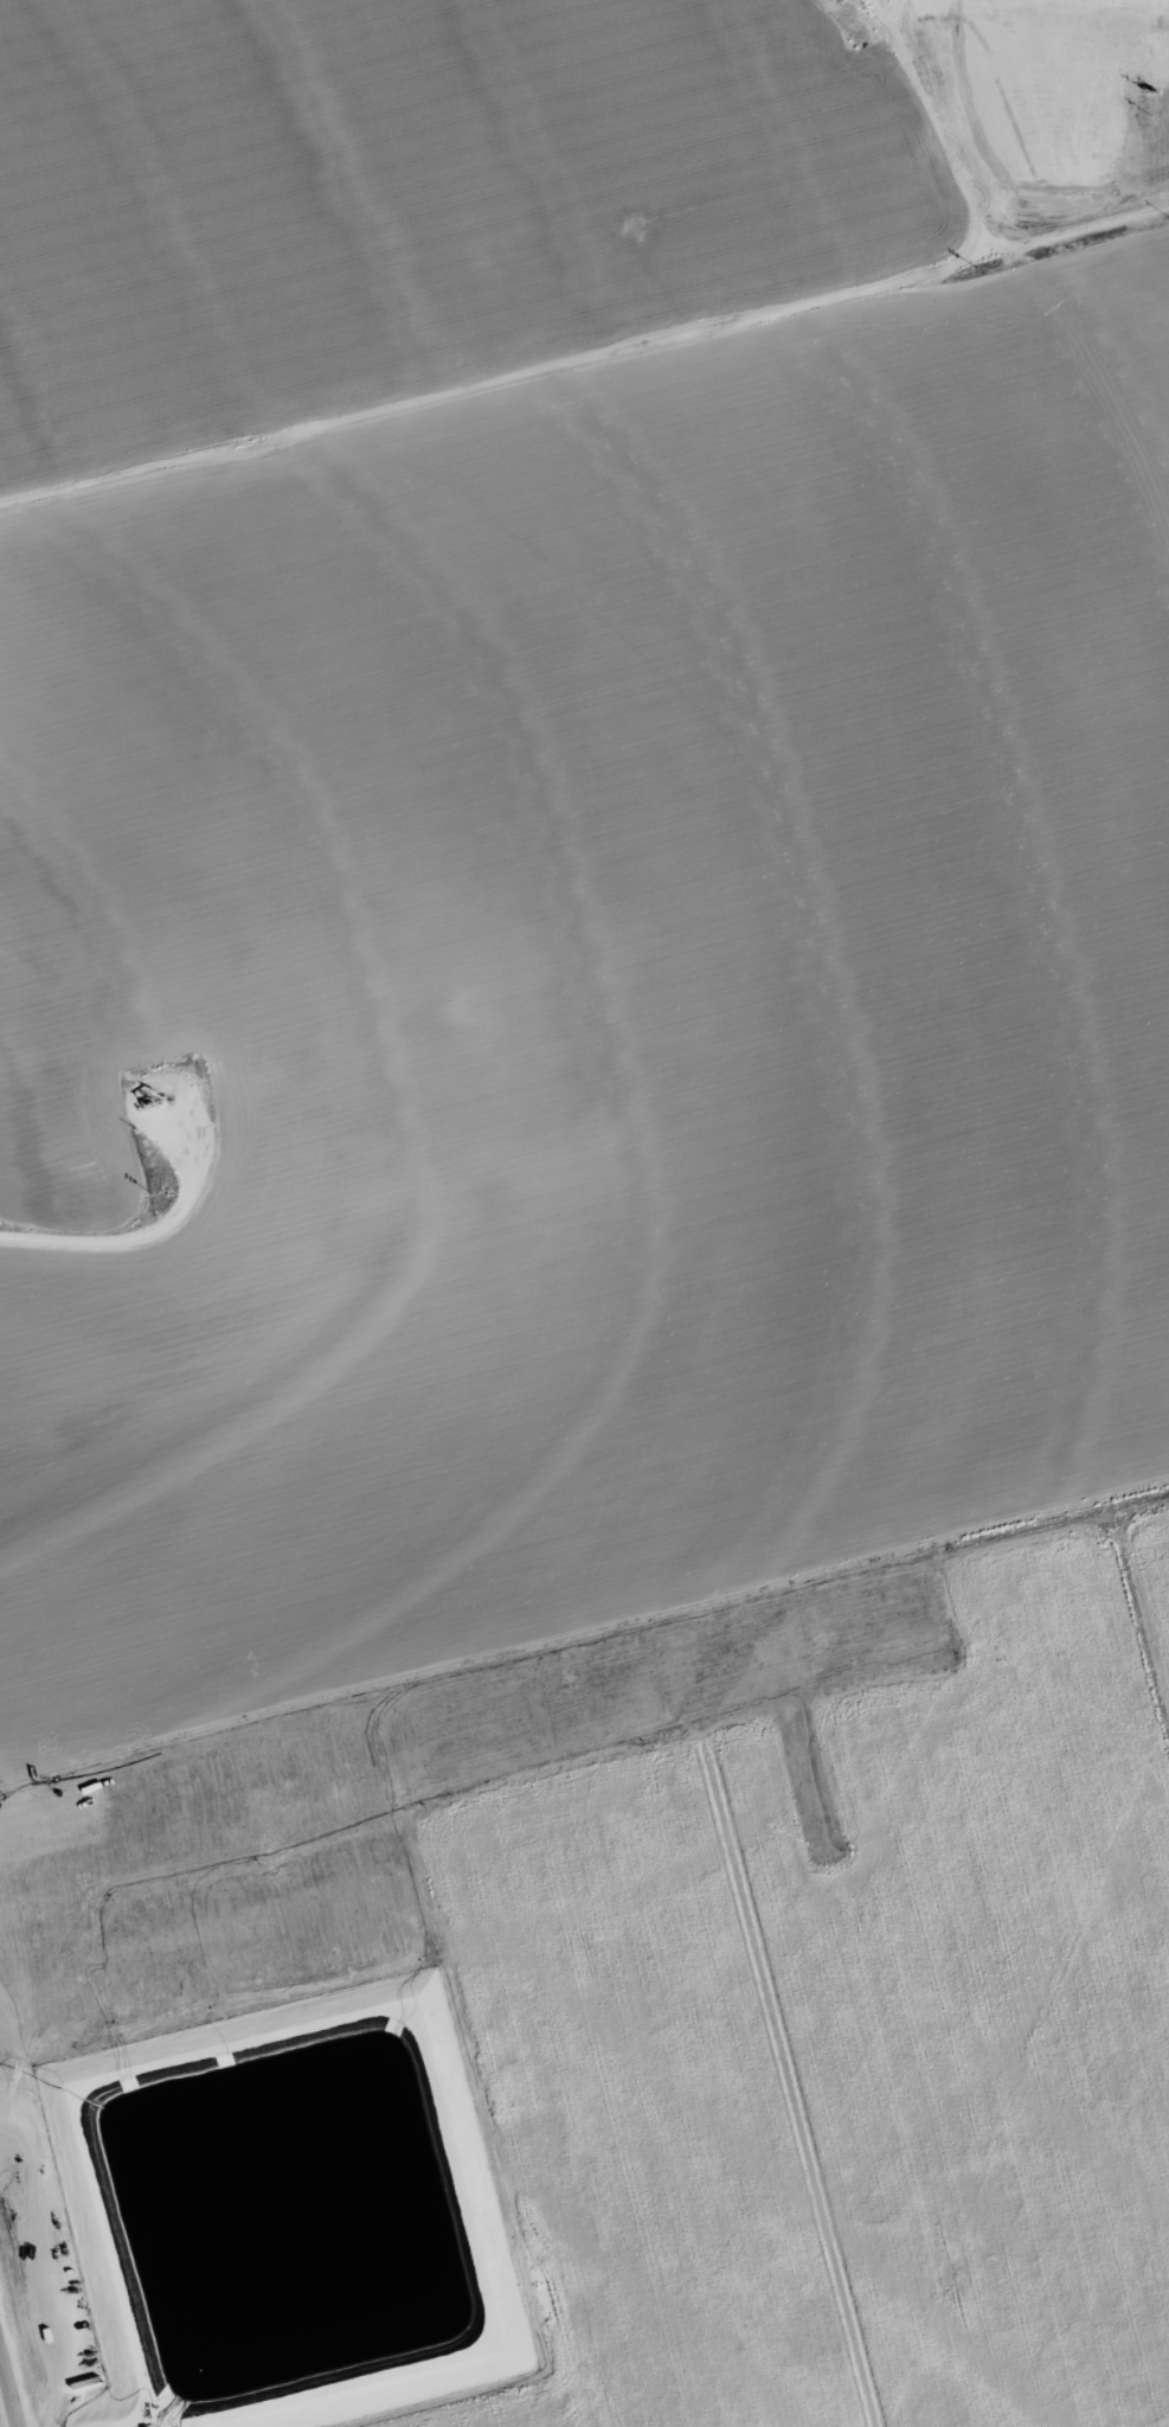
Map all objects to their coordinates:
road: (584, 383)
road: (8, 2393)

